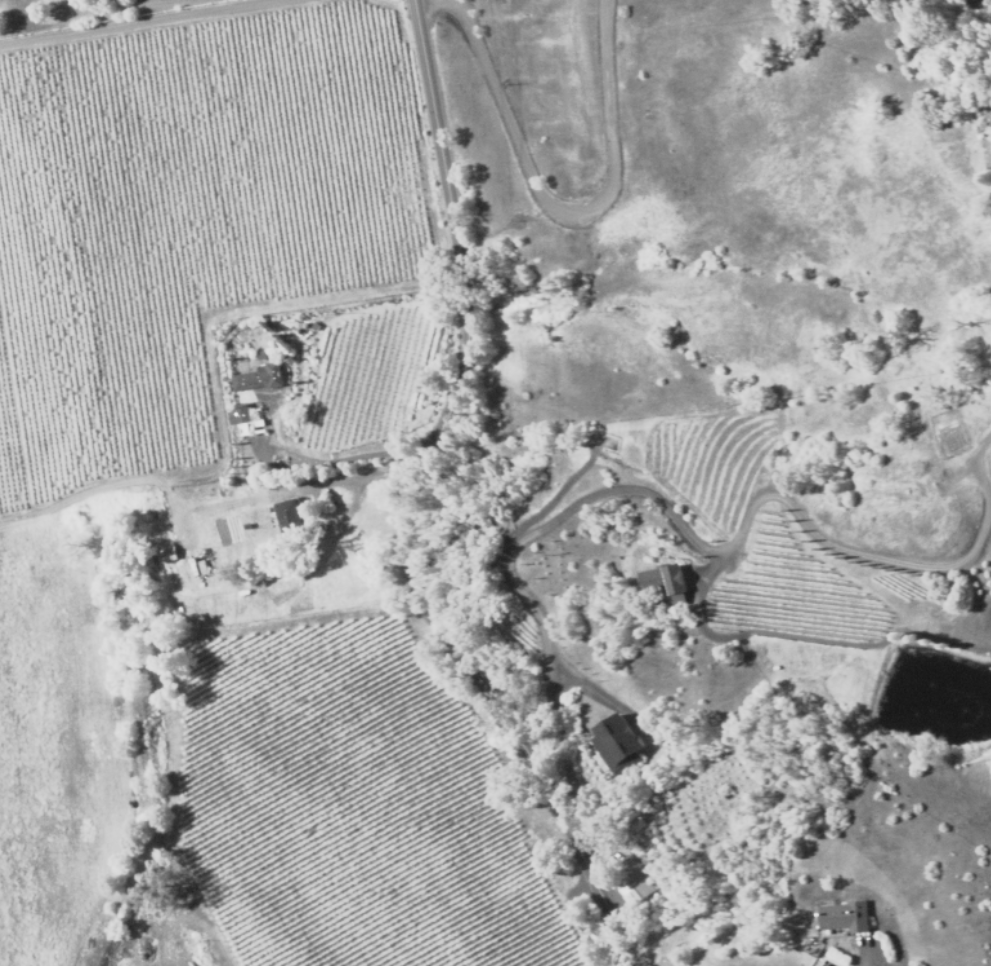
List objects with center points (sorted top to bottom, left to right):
road: (559, 214)
building: (256, 377)
building: (237, 415)
road: (350, 457)
road: (402, 506)
building: (288, 515)
building: (663, 581)
building: (620, 742)
building: (623, 891)
building: (845, 918)

